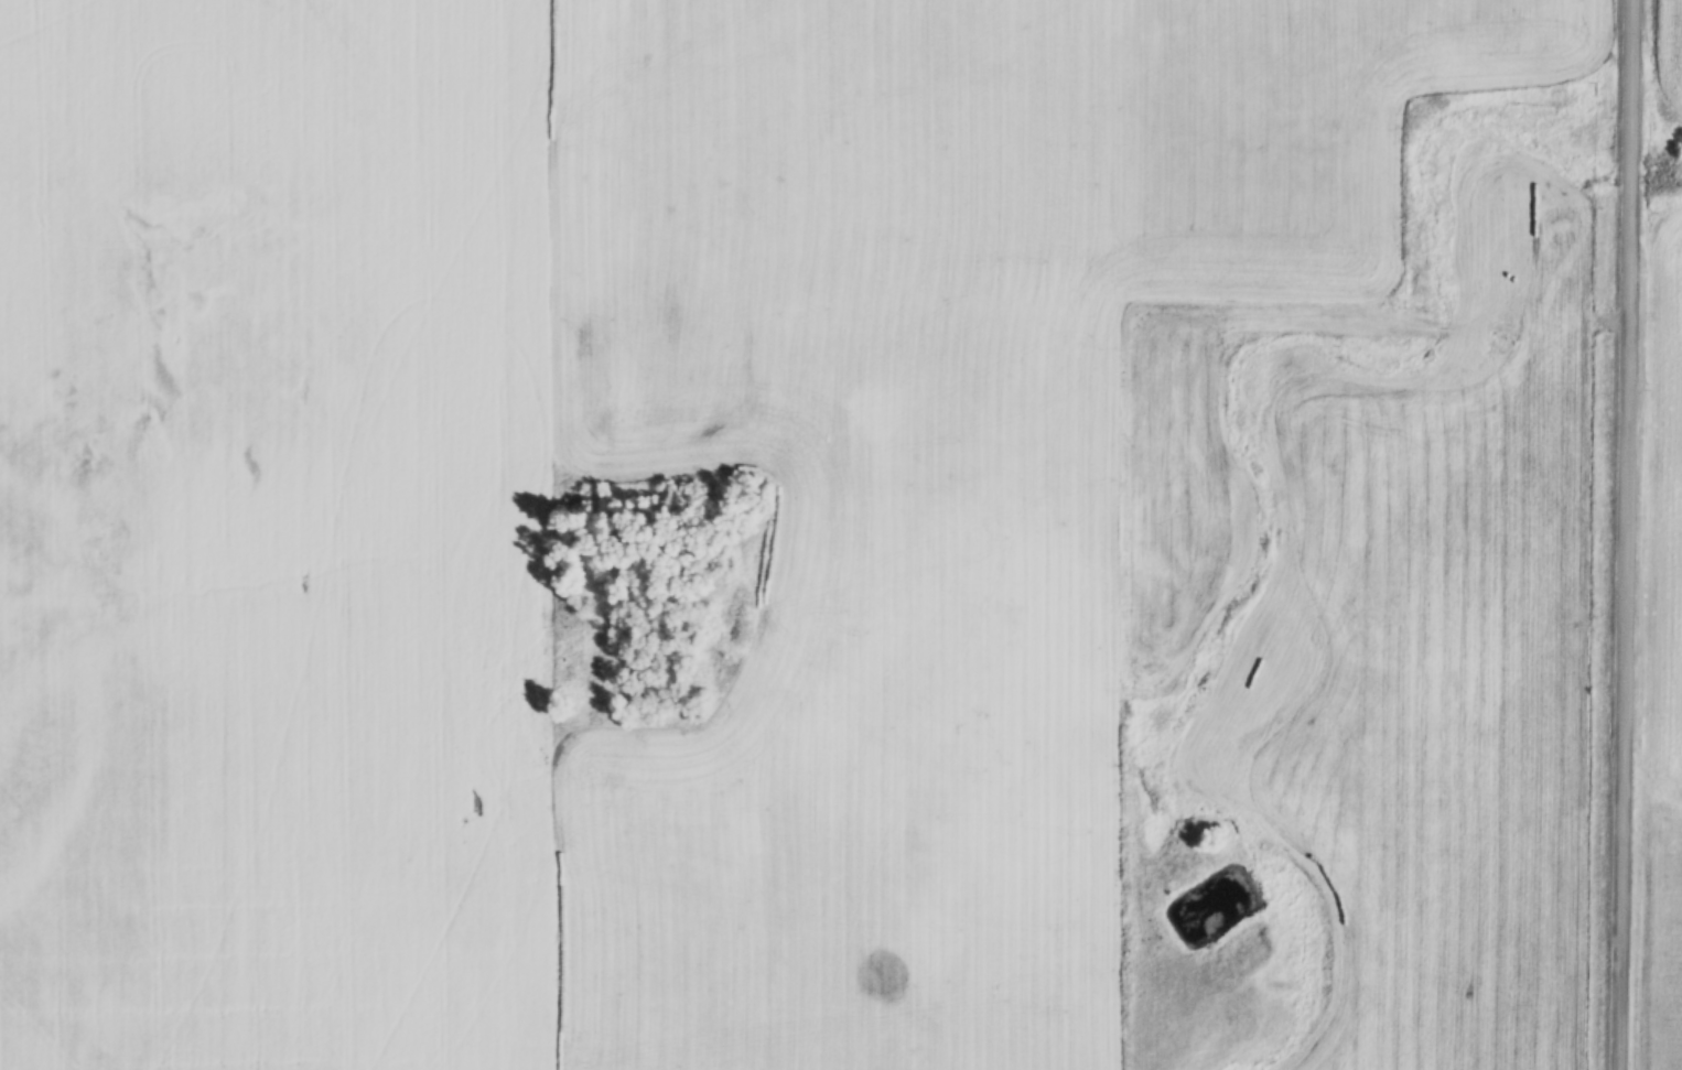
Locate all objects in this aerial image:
road: (1636, 534)

